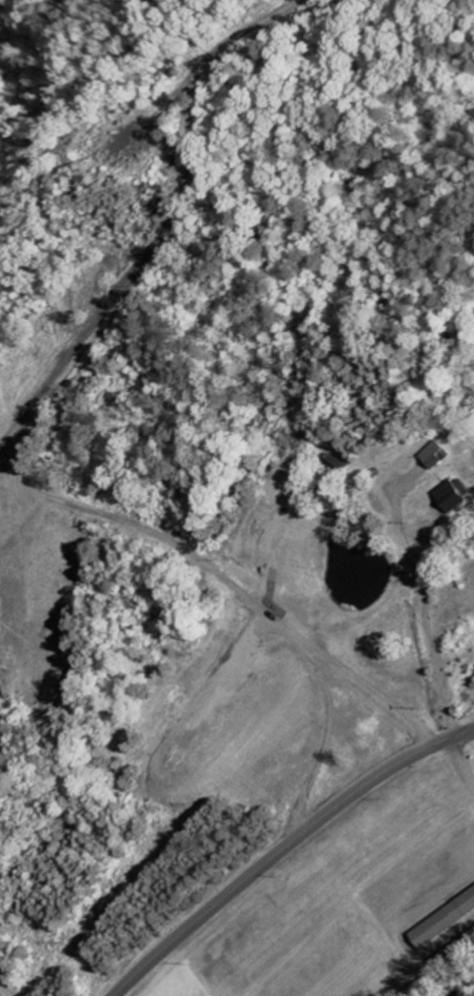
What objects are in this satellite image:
road: (103, 317)
building: (436, 457)
building: (455, 497)
road: (425, 603)
road: (240, 604)
road: (466, 768)
road: (284, 848)
road: (444, 871)
building: (444, 924)

